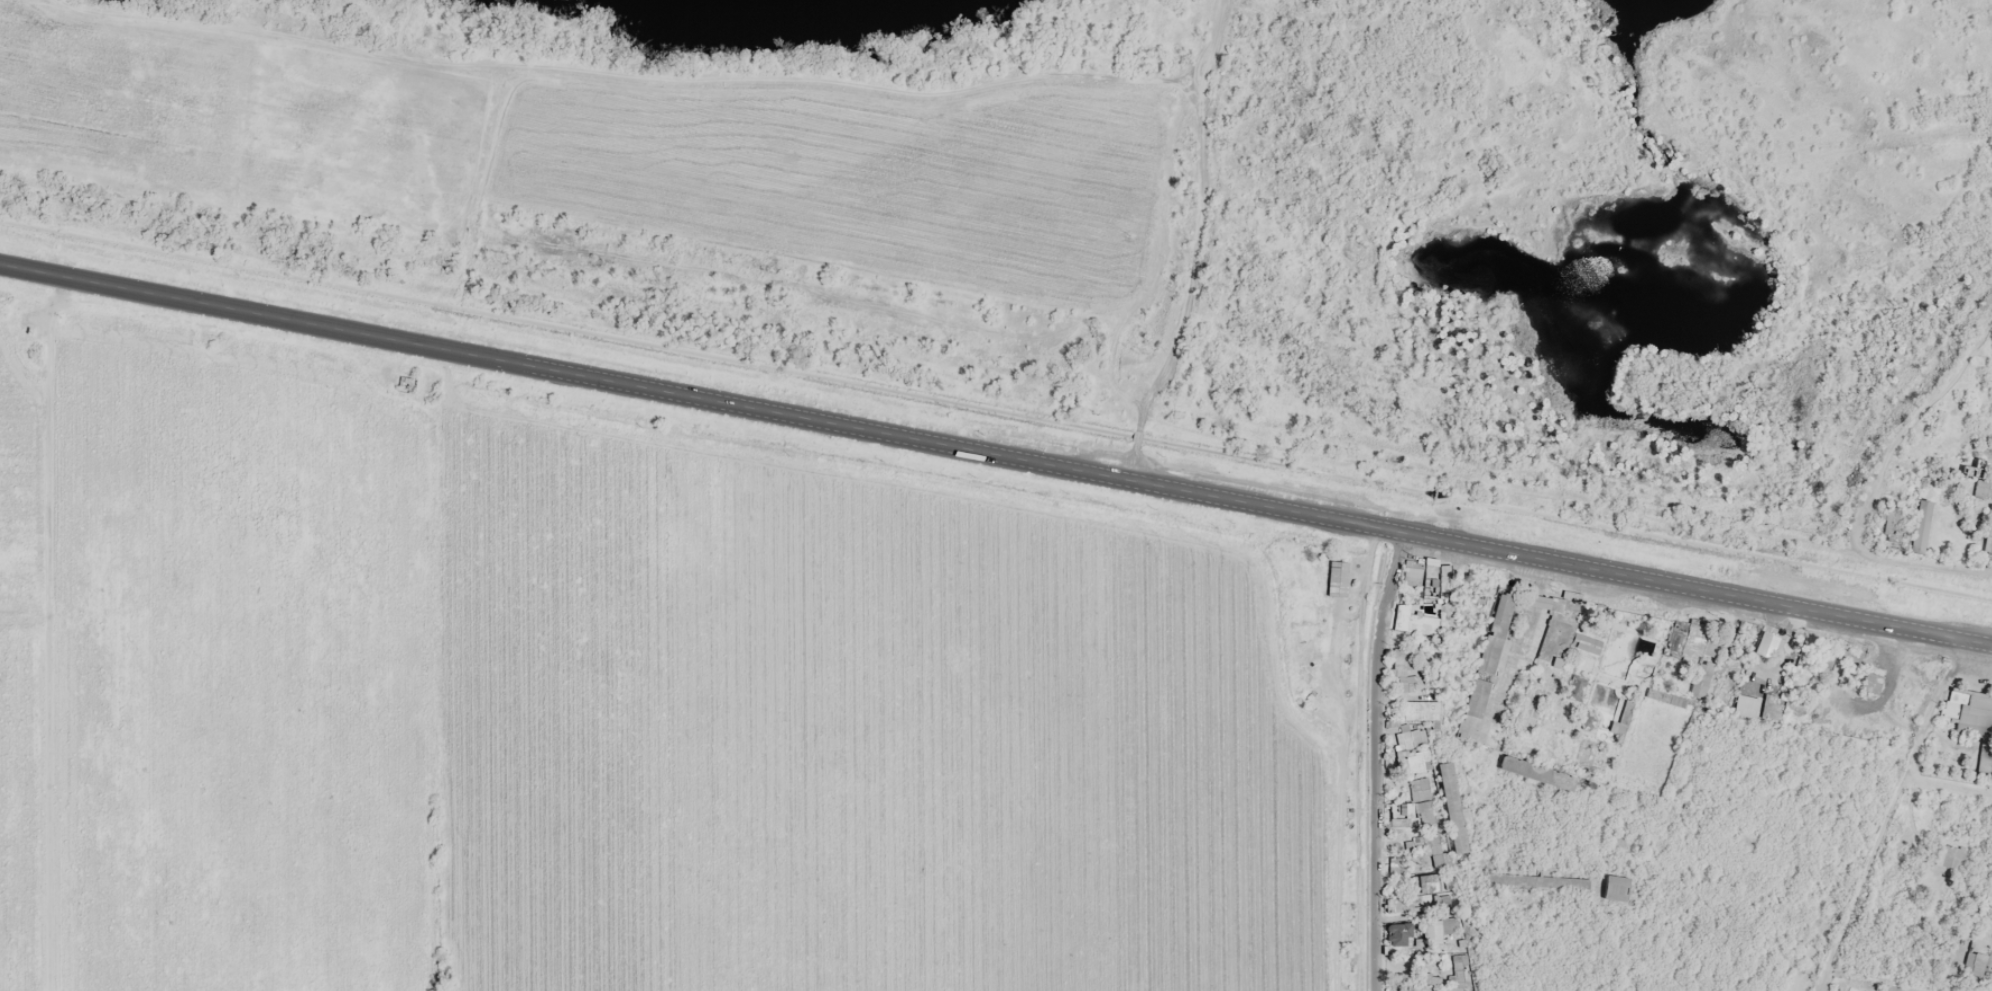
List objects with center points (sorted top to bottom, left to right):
road: (698, 396)
road: (1908, 427)
road: (1923, 563)
road: (1694, 588)
road: (1376, 760)
road: (1949, 785)
road: (1889, 815)
road: (1880, 980)

